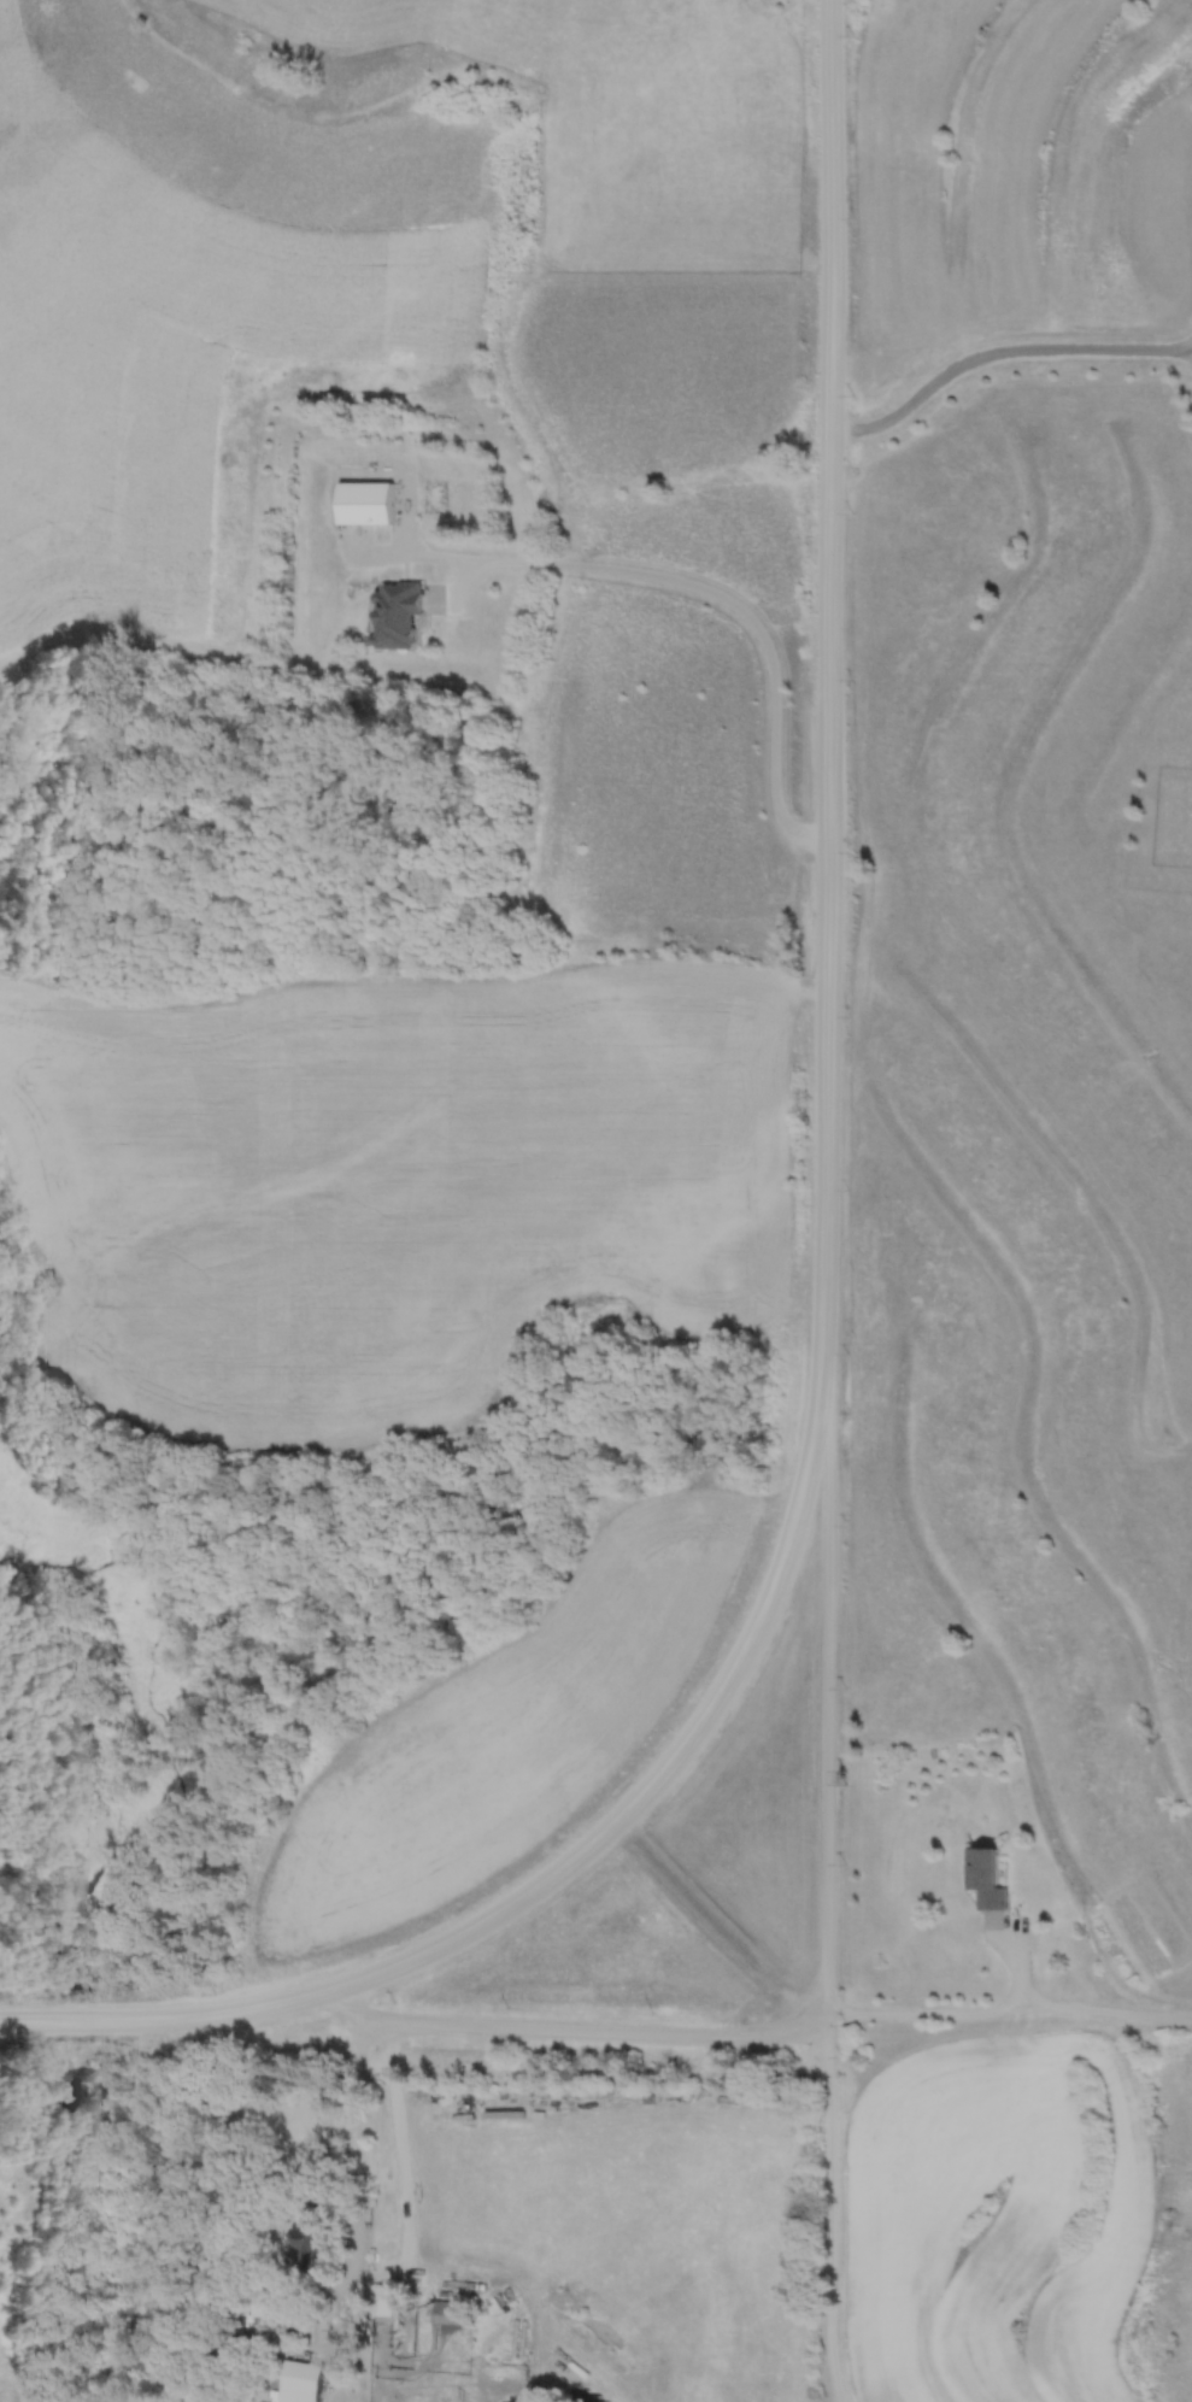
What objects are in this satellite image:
road: (1000, 353)
building: (375, 503)
road: (694, 594)
building: (401, 616)
road: (824, 1202)
road: (558, 1866)
building: (996, 1878)
road: (1006, 2003)
road: (575, 2020)
building: (583, 2134)
road: (352, 2193)
building: (322, 2239)
building: (309, 2380)

